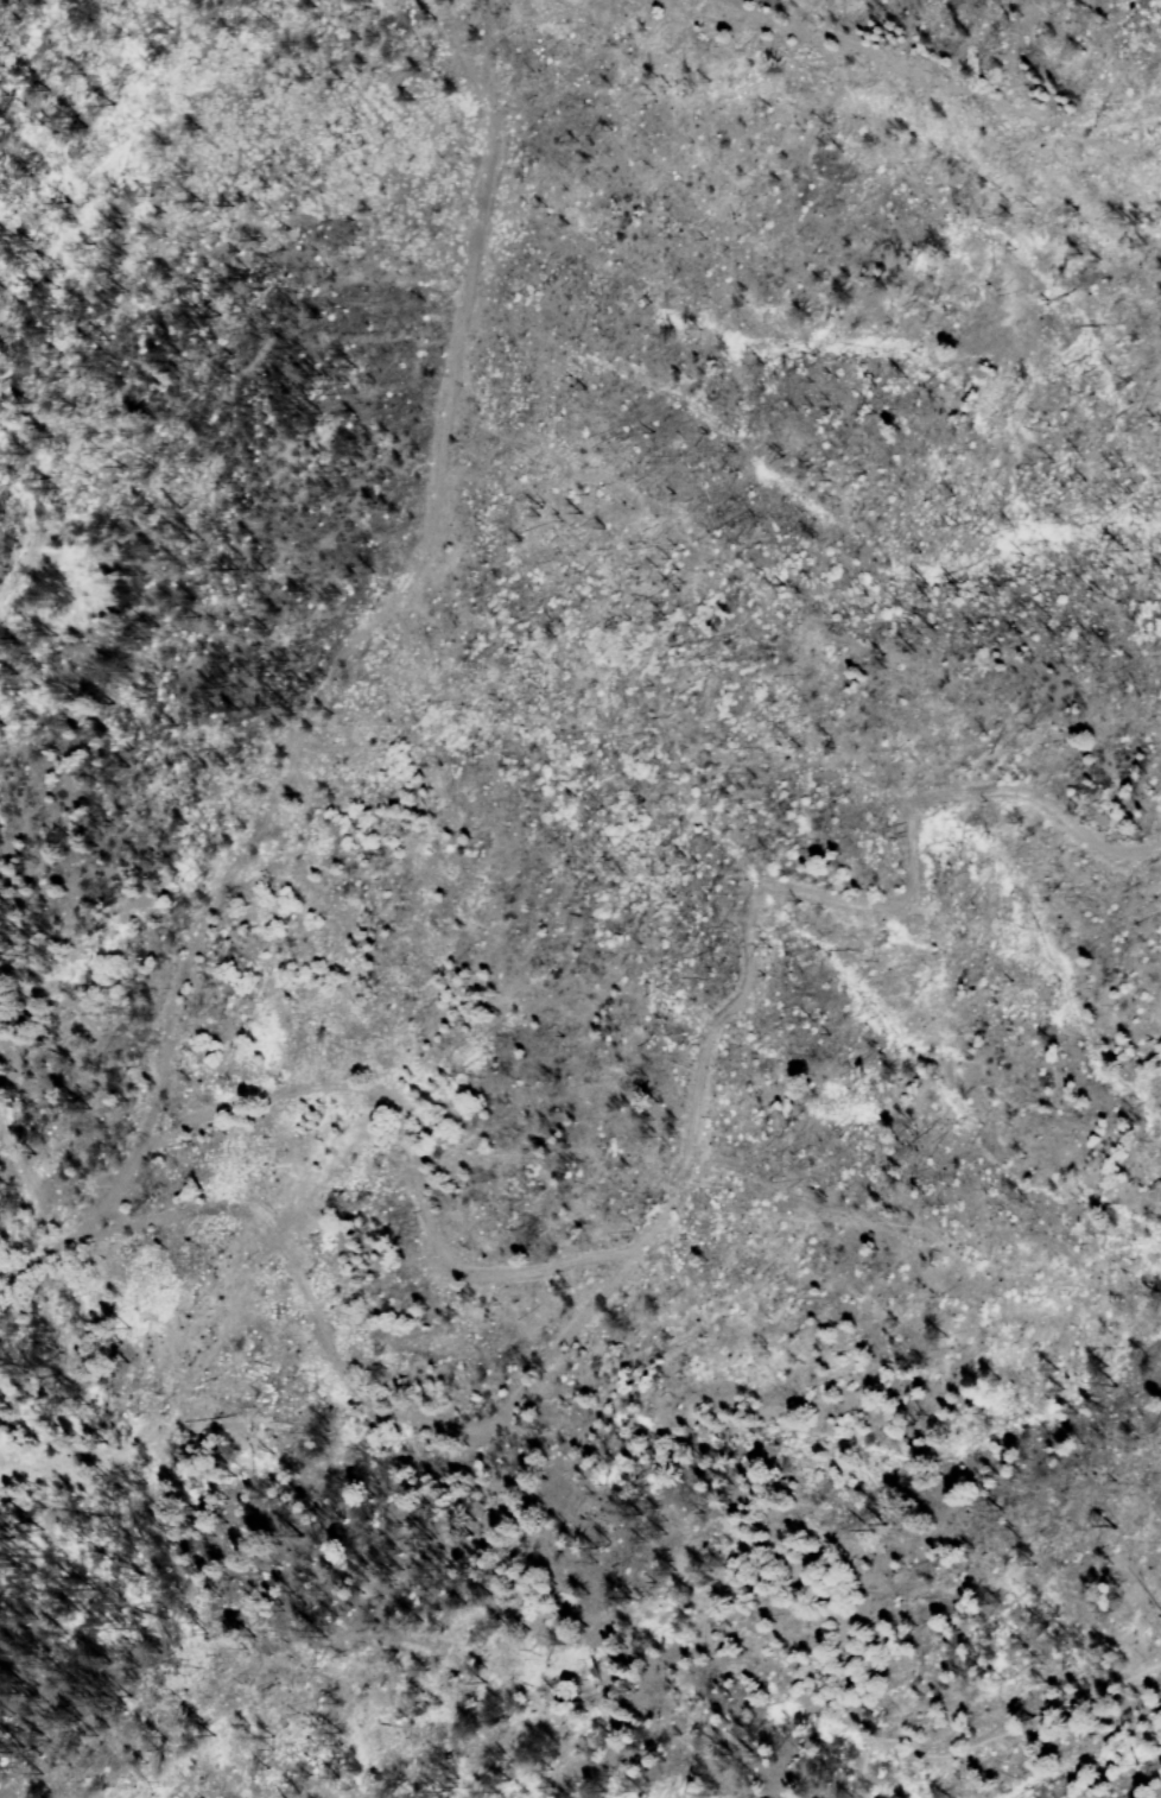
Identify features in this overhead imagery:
road: (749, 897)
road: (582, 1025)

